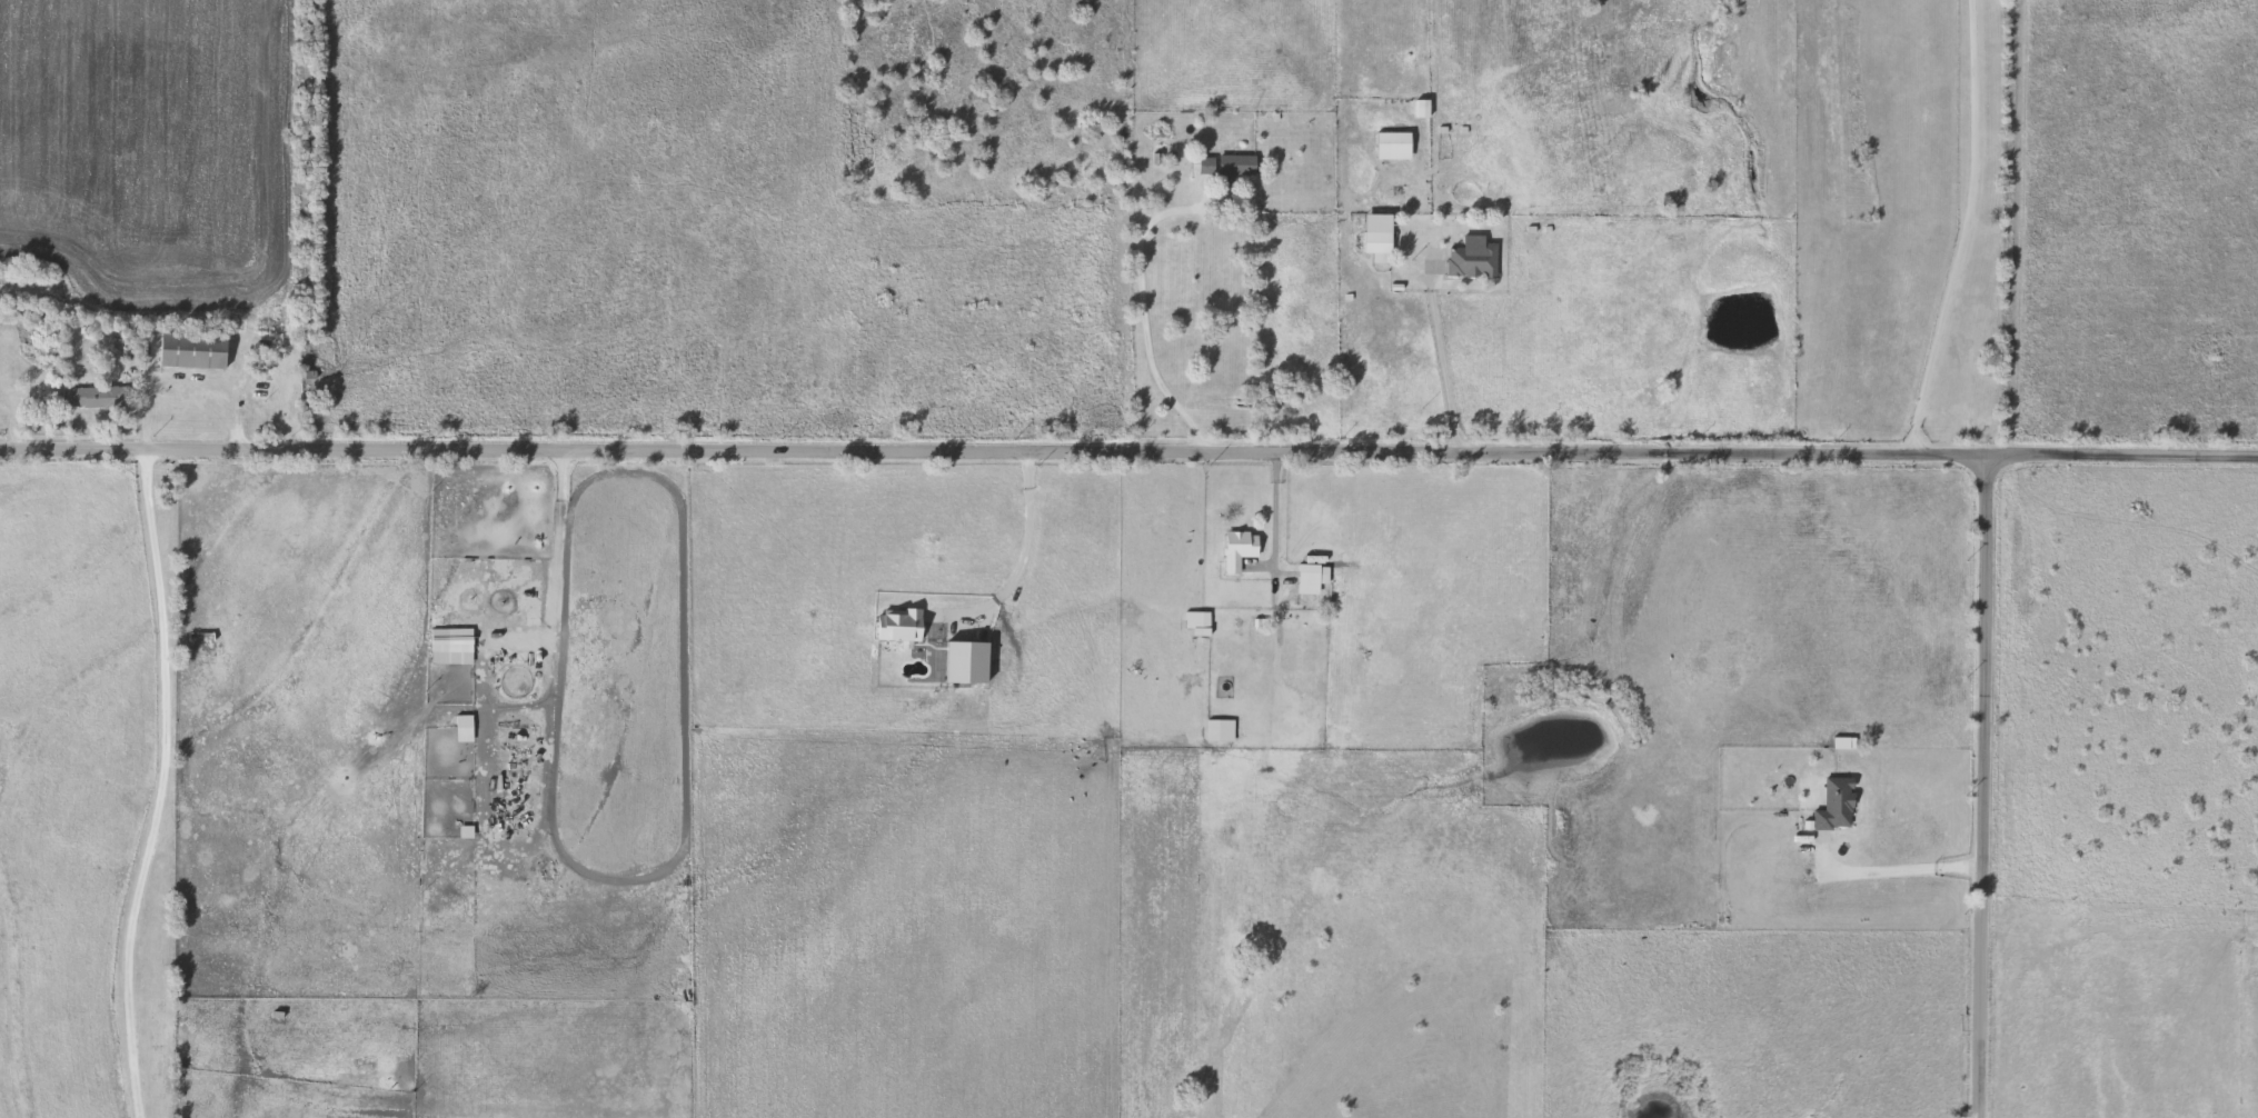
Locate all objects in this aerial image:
building: (1393, 143)
building: (1204, 163)
building: (1236, 168)
road: (1968, 229)
building: (1379, 236)
building: (1473, 257)
road: (1147, 317)
building: (193, 349)
road: (1443, 369)
building: (95, 395)
road: (994, 450)
road: (2122, 453)
road: (1274, 509)
road: (560, 540)
road: (1027, 540)
building: (1240, 547)
building: (1311, 575)
building: (1195, 618)
building: (201, 635)
building: (452, 643)
building: (464, 727)
building: (1220, 728)
road: (160, 785)
road: (1983, 786)
road: (1909, 865)

